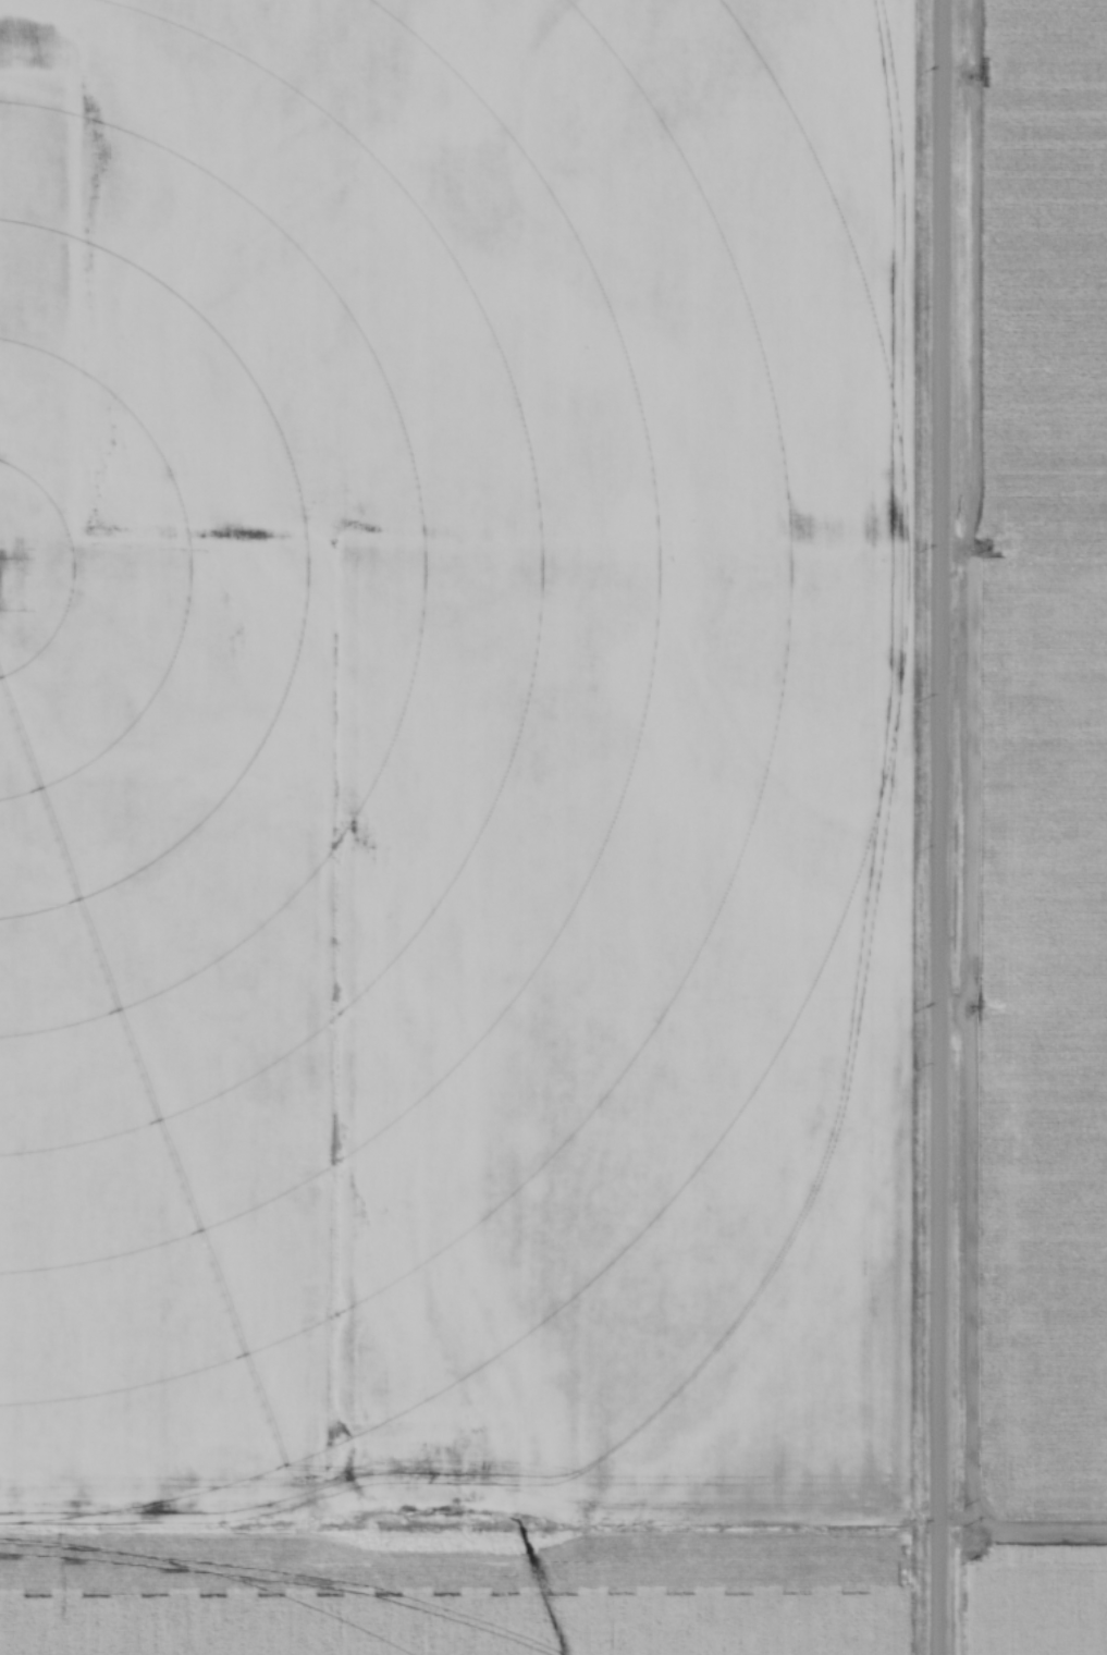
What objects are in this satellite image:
road: (942, 826)

